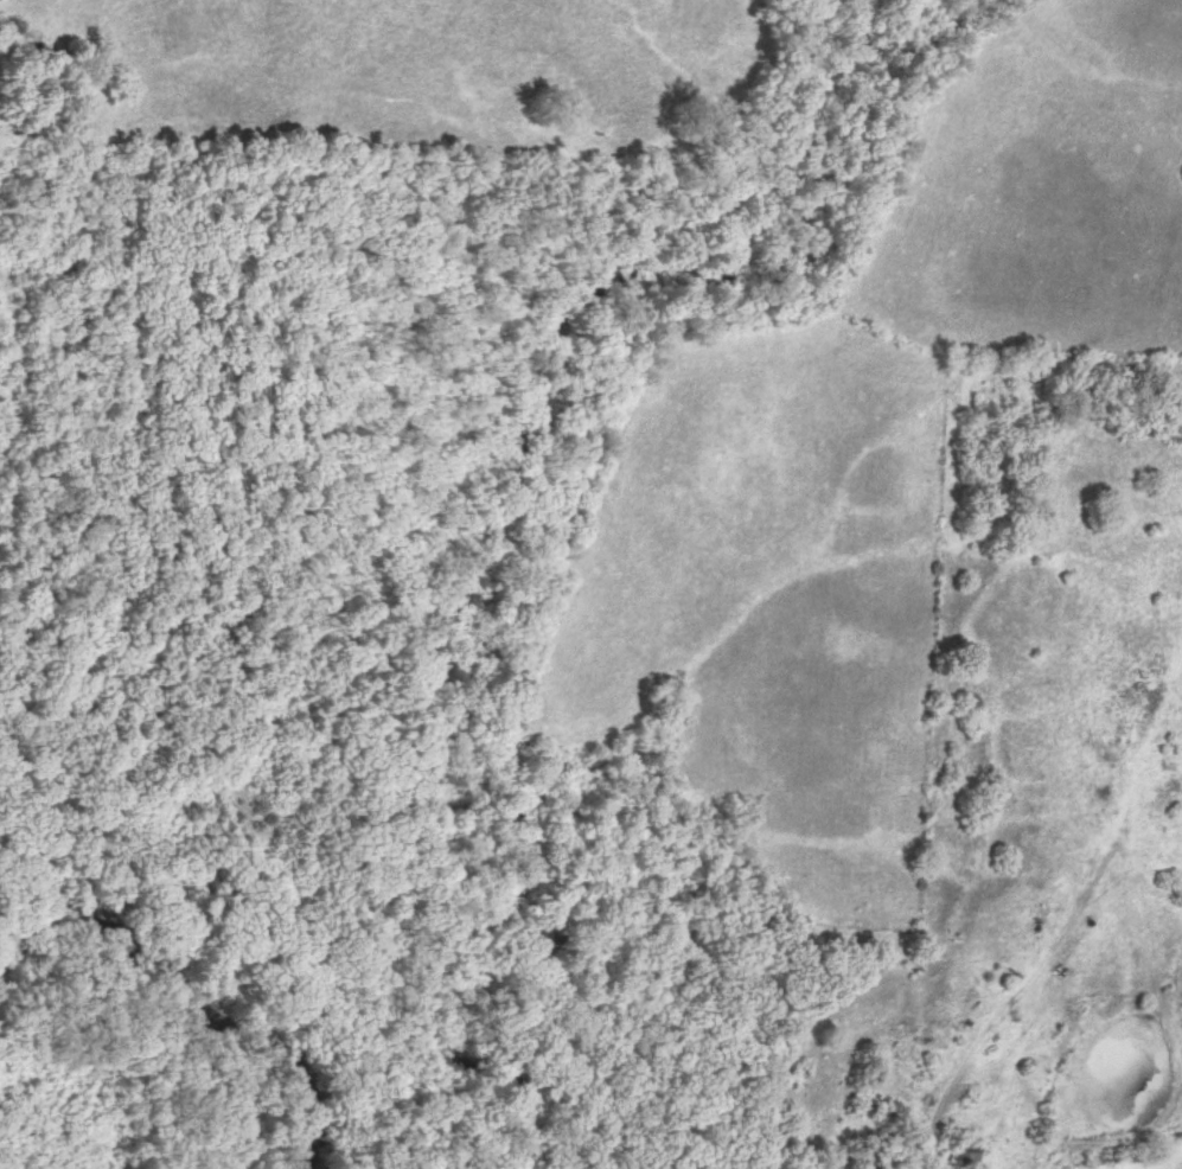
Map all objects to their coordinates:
road: (925, 1135)
building: (958, 1154)
building: (858, 1165)

